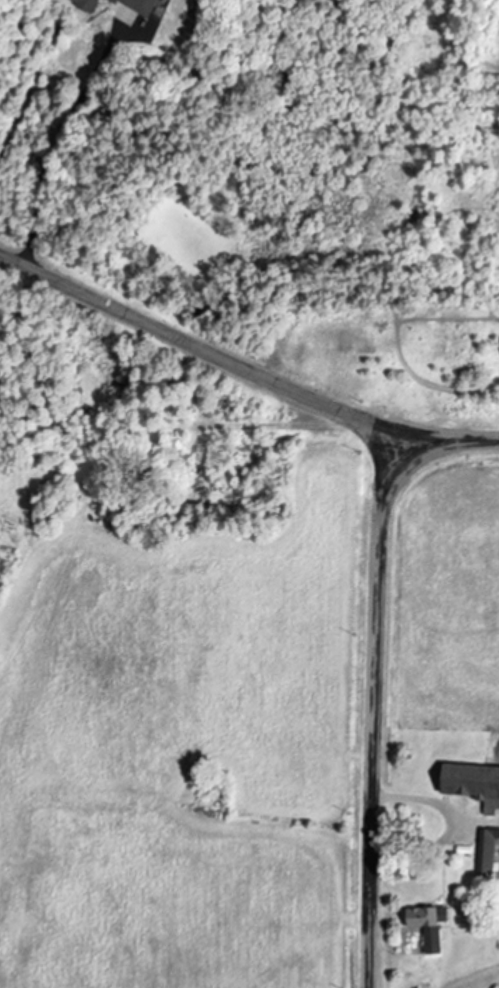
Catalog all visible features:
building: (82, 4)
building: (135, 5)
road: (71, 149)
road: (246, 368)
road: (374, 714)
building: (471, 784)
road: (458, 824)
building: (487, 854)
building: (425, 925)

